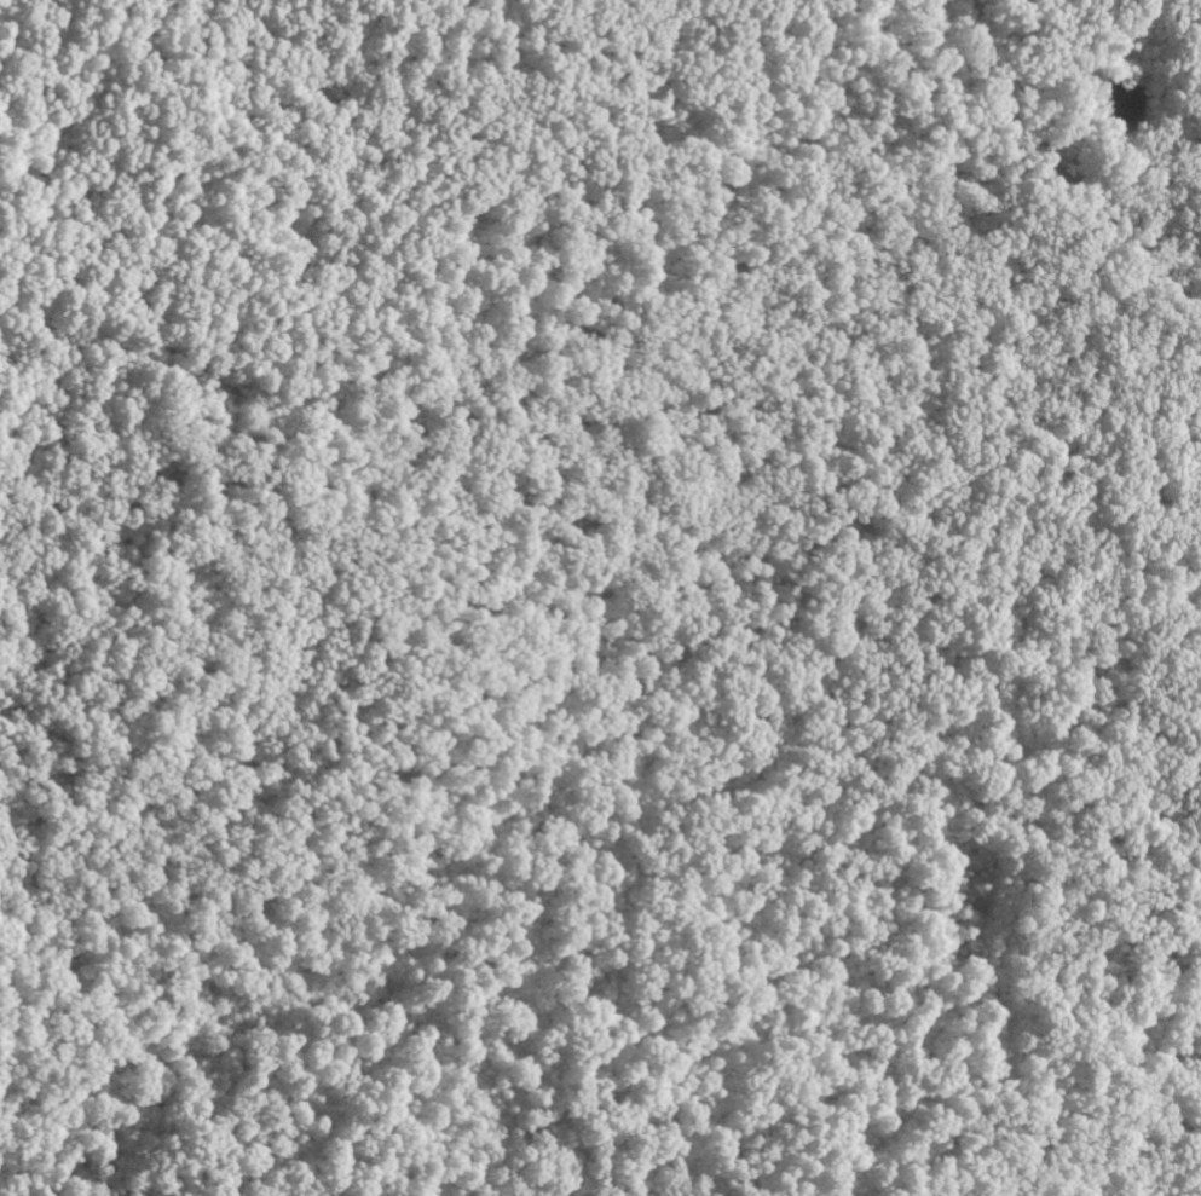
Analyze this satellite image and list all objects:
road: (1049, 161)

